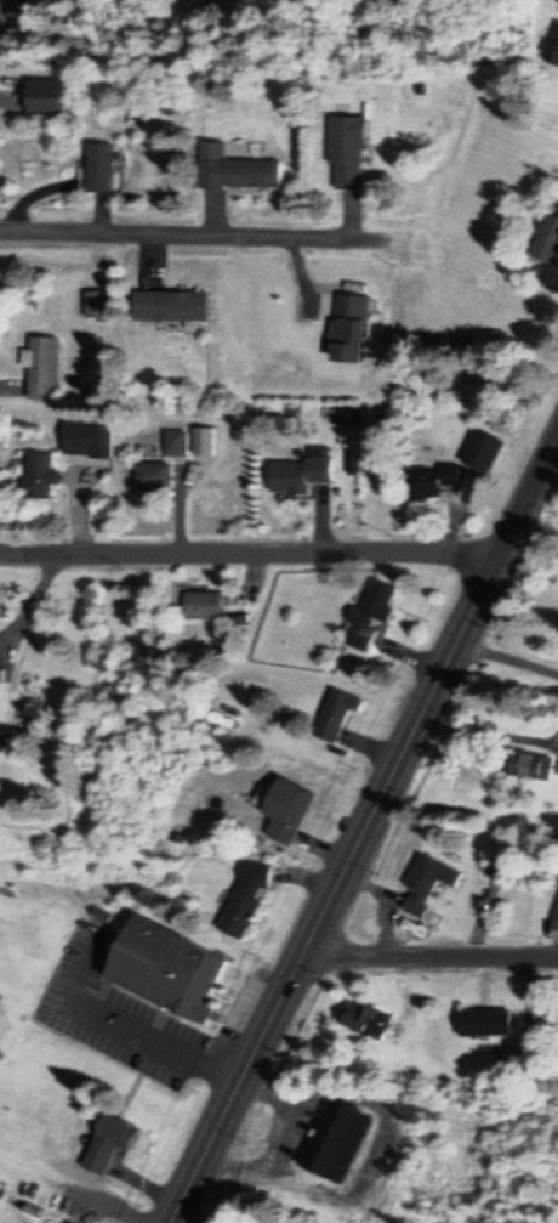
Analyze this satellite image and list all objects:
road: (15, 11)
building: (553, 45)
building: (45, 95)
building: (346, 149)
building: (99, 165)
building: (235, 168)
building: (557, 199)
road: (195, 231)
building: (547, 238)
building: (93, 302)
building: (170, 304)
building: (349, 325)
building: (42, 366)
building: (203, 440)
building: (175, 442)
building: (482, 449)
building: (39, 474)
building: (297, 474)
building: (152, 475)
building: (431, 480)
road: (529, 494)
road: (250, 550)
building: (201, 605)
building: (370, 611)
building: (335, 713)
building: (528, 764)
building: (291, 812)
building: (427, 879)
road: (329, 887)
building: (245, 898)
road: (428, 946)
building: (164, 968)
building: (364, 1019)
building: (484, 1021)
building: (335, 1140)
building: (108, 1142)
road: (494, 1165)
building: (68, 1222)

